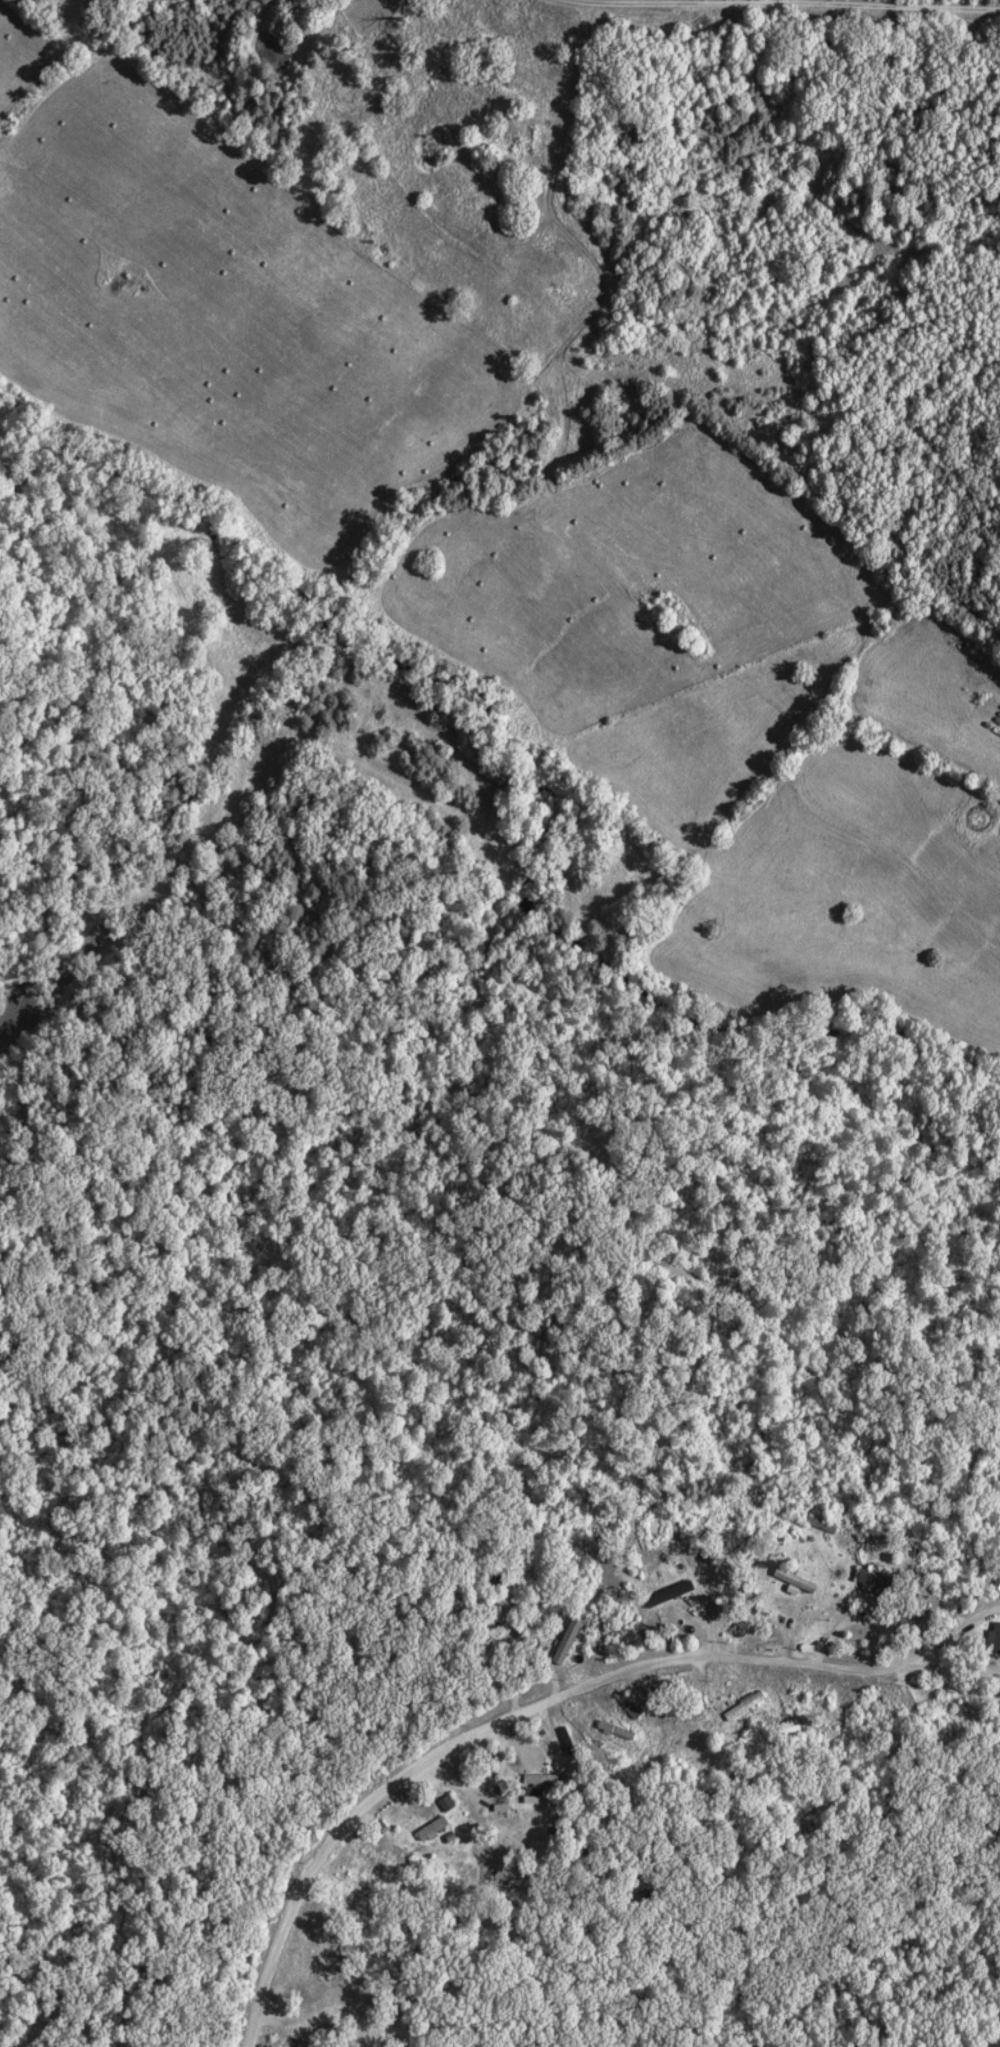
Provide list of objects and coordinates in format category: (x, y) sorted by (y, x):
road: (781, 3)
building: (867, 1579)
road: (881, 1632)
building: (491, 1637)
building: (992, 1637)
building: (628, 1710)
building: (692, 1729)
road: (441, 1743)
building: (536, 1796)
building: (401, 1827)
building: (301, 2044)

